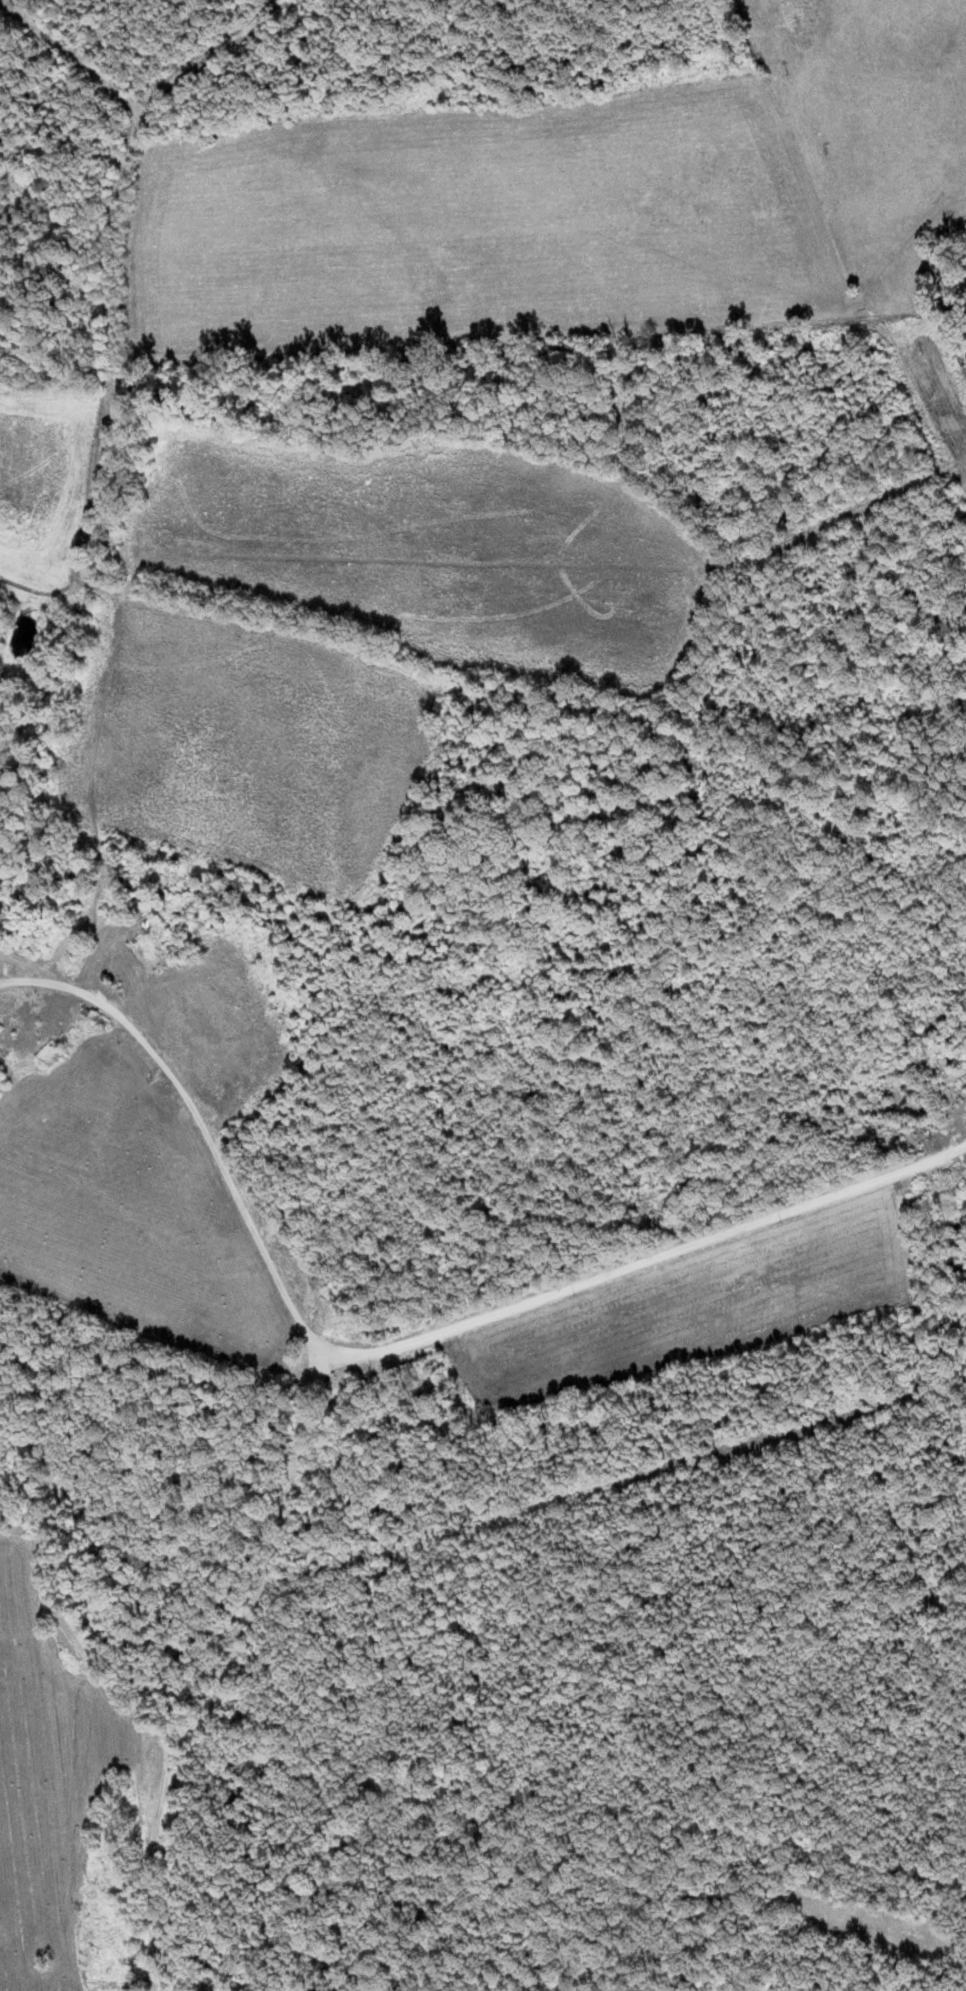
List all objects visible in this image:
building: (102, 1022)
road: (382, 1369)

